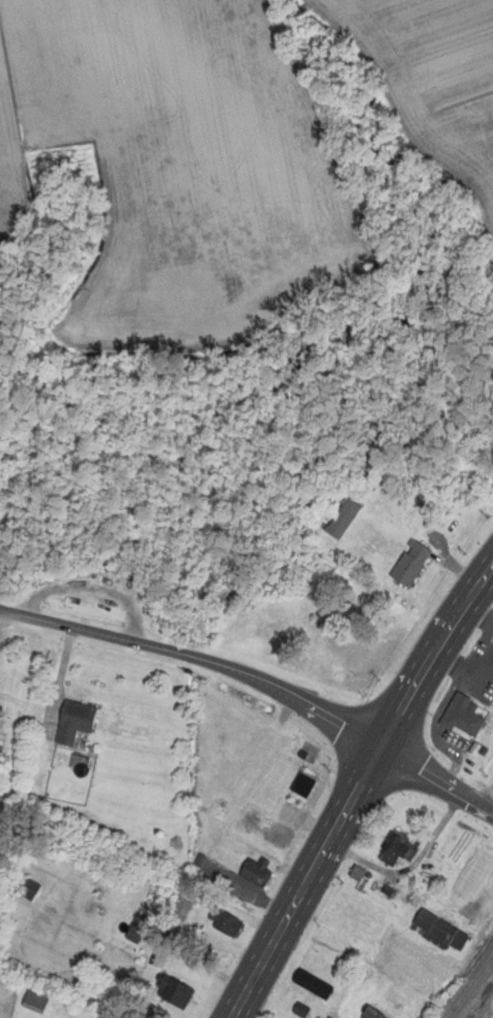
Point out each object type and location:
building: (340, 519)
building: (409, 562)
road: (475, 614)
road: (1, 616)
road: (194, 656)
road: (461, 669)
building: (472, 676)
building: (461, 716)
building: (70, 720)
road: (435, 733)
building: (0, 748)
road: (351, 781)
building: (300, 784)
road: (430, 787)
road: (487, 806)
building: (395, 850)
building: (253, 872)
building: (27, 889)
building: (221, 923)
building: (435, 931)
building: (309, 982)
railway: (470, 986)
building: (171, 993)
building: (34, 999)
building: (299, 1010)
building: (368, 1013)

